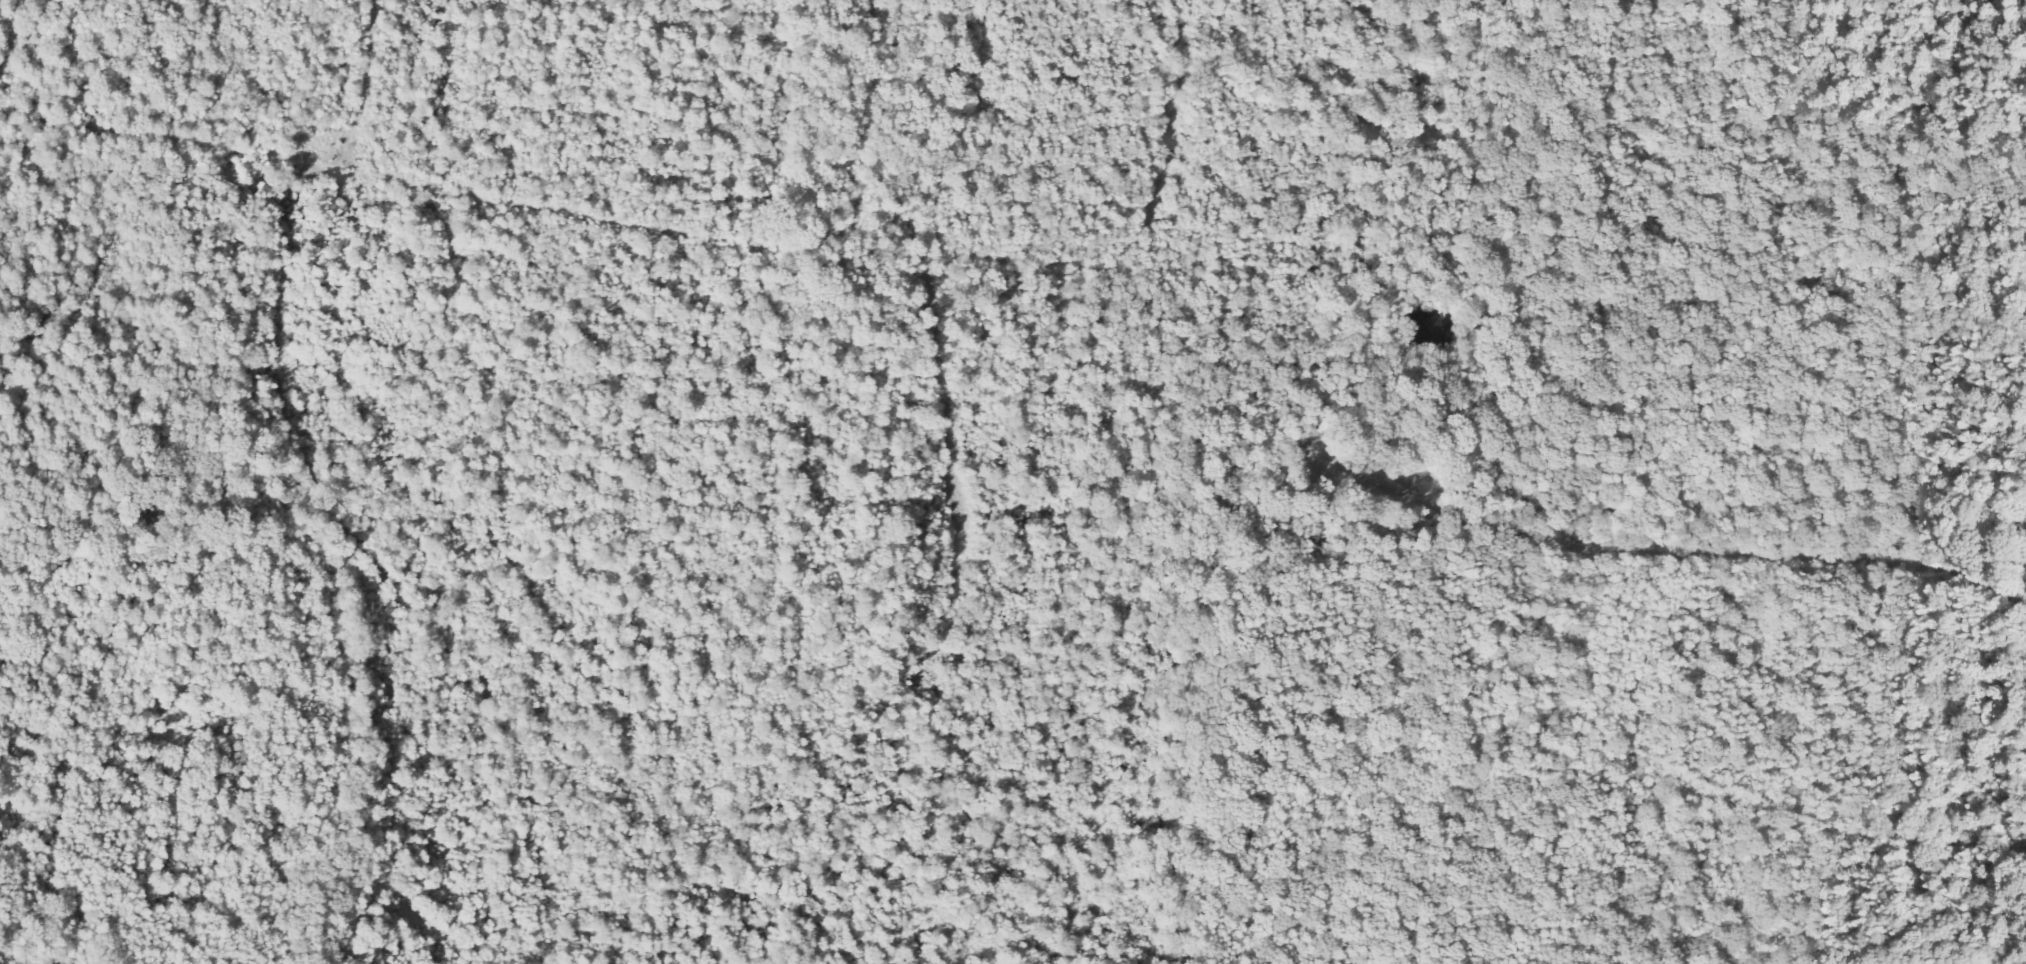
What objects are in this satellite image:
road: (1697, 548)

